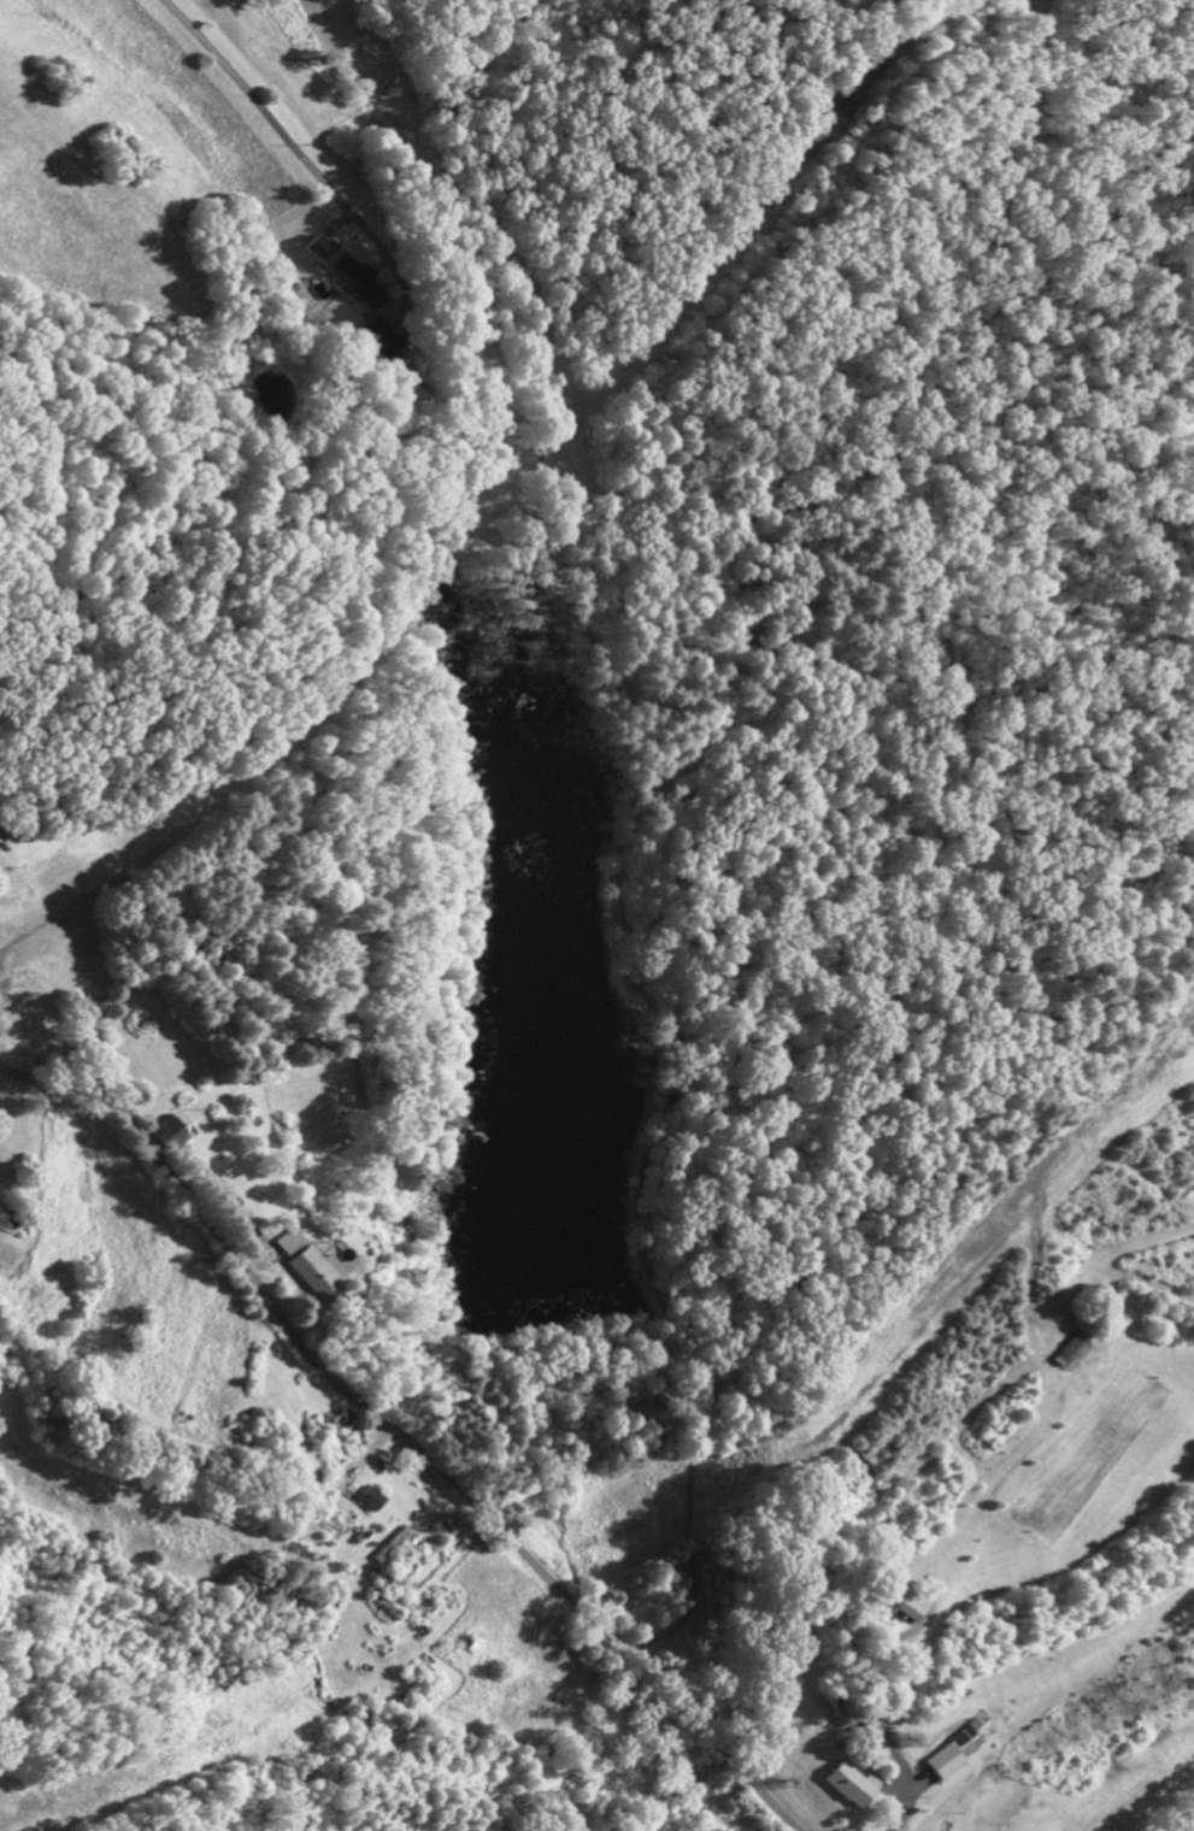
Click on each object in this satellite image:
road: (289, 143)
building: (345, 276)
building: (384, 351)
building: (166, 1137)
building: (287, 1244)
building: (313, 1276)
building: (341, 1423)
road: (398, 1438)
building: (369, 1502)
building: (907, 1613)
road: (878, 1732)
building: (943, 1765)
building: (854, 1789)

